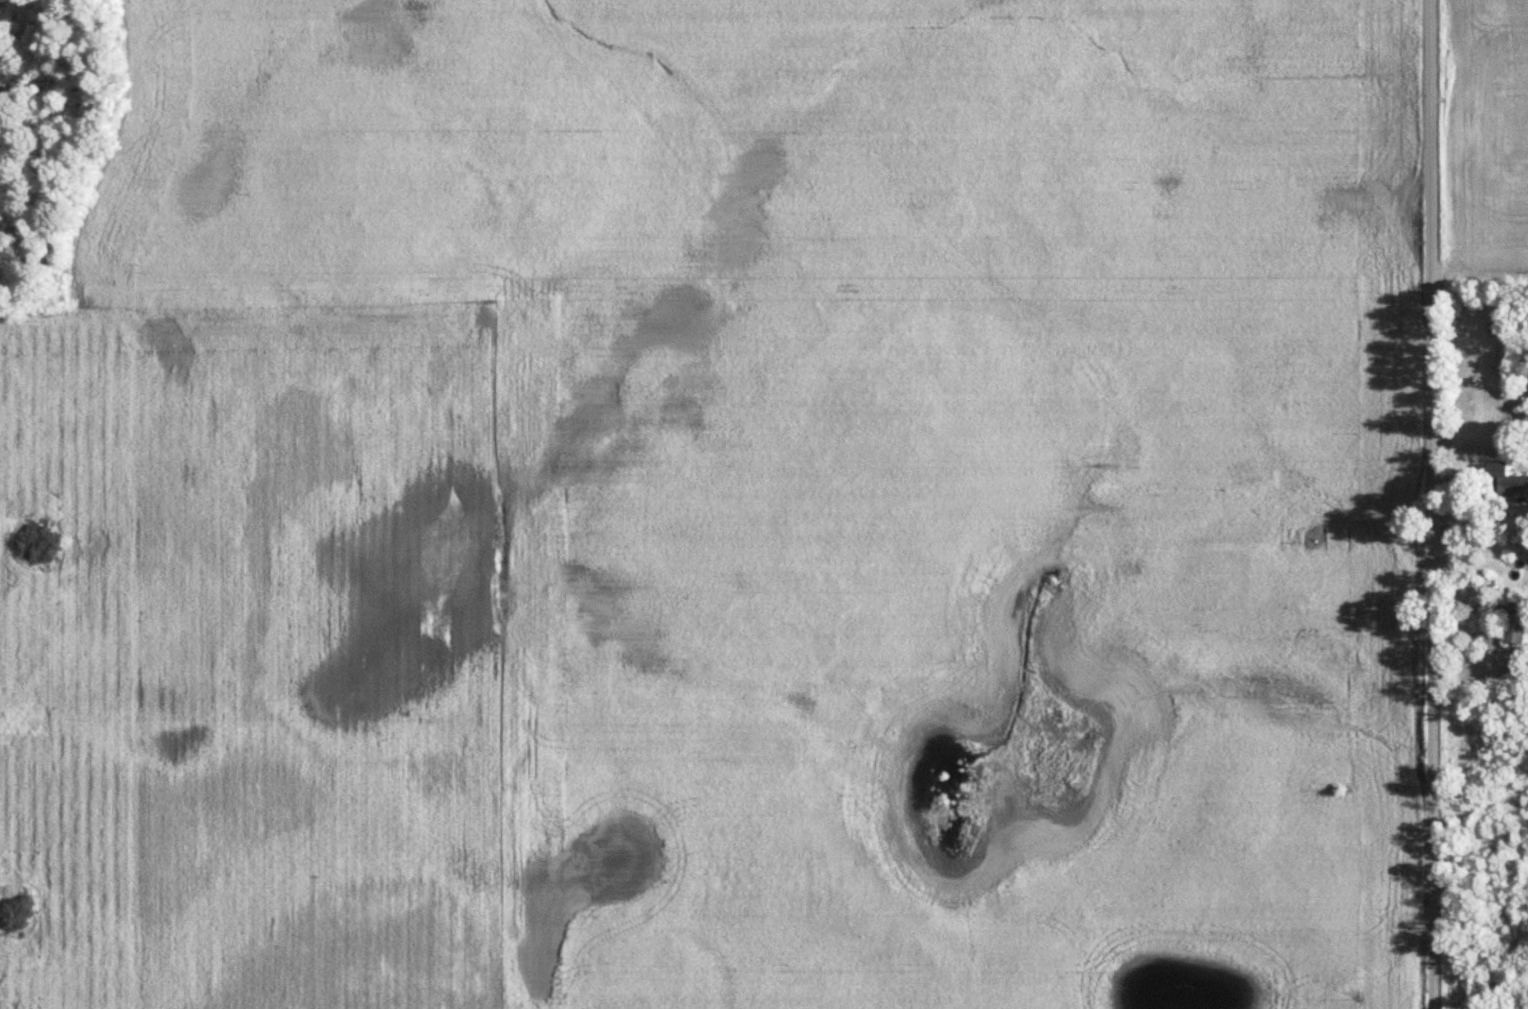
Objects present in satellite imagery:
building: (1505, 483)
road: (1431, 504)
building: (1518, 624)

